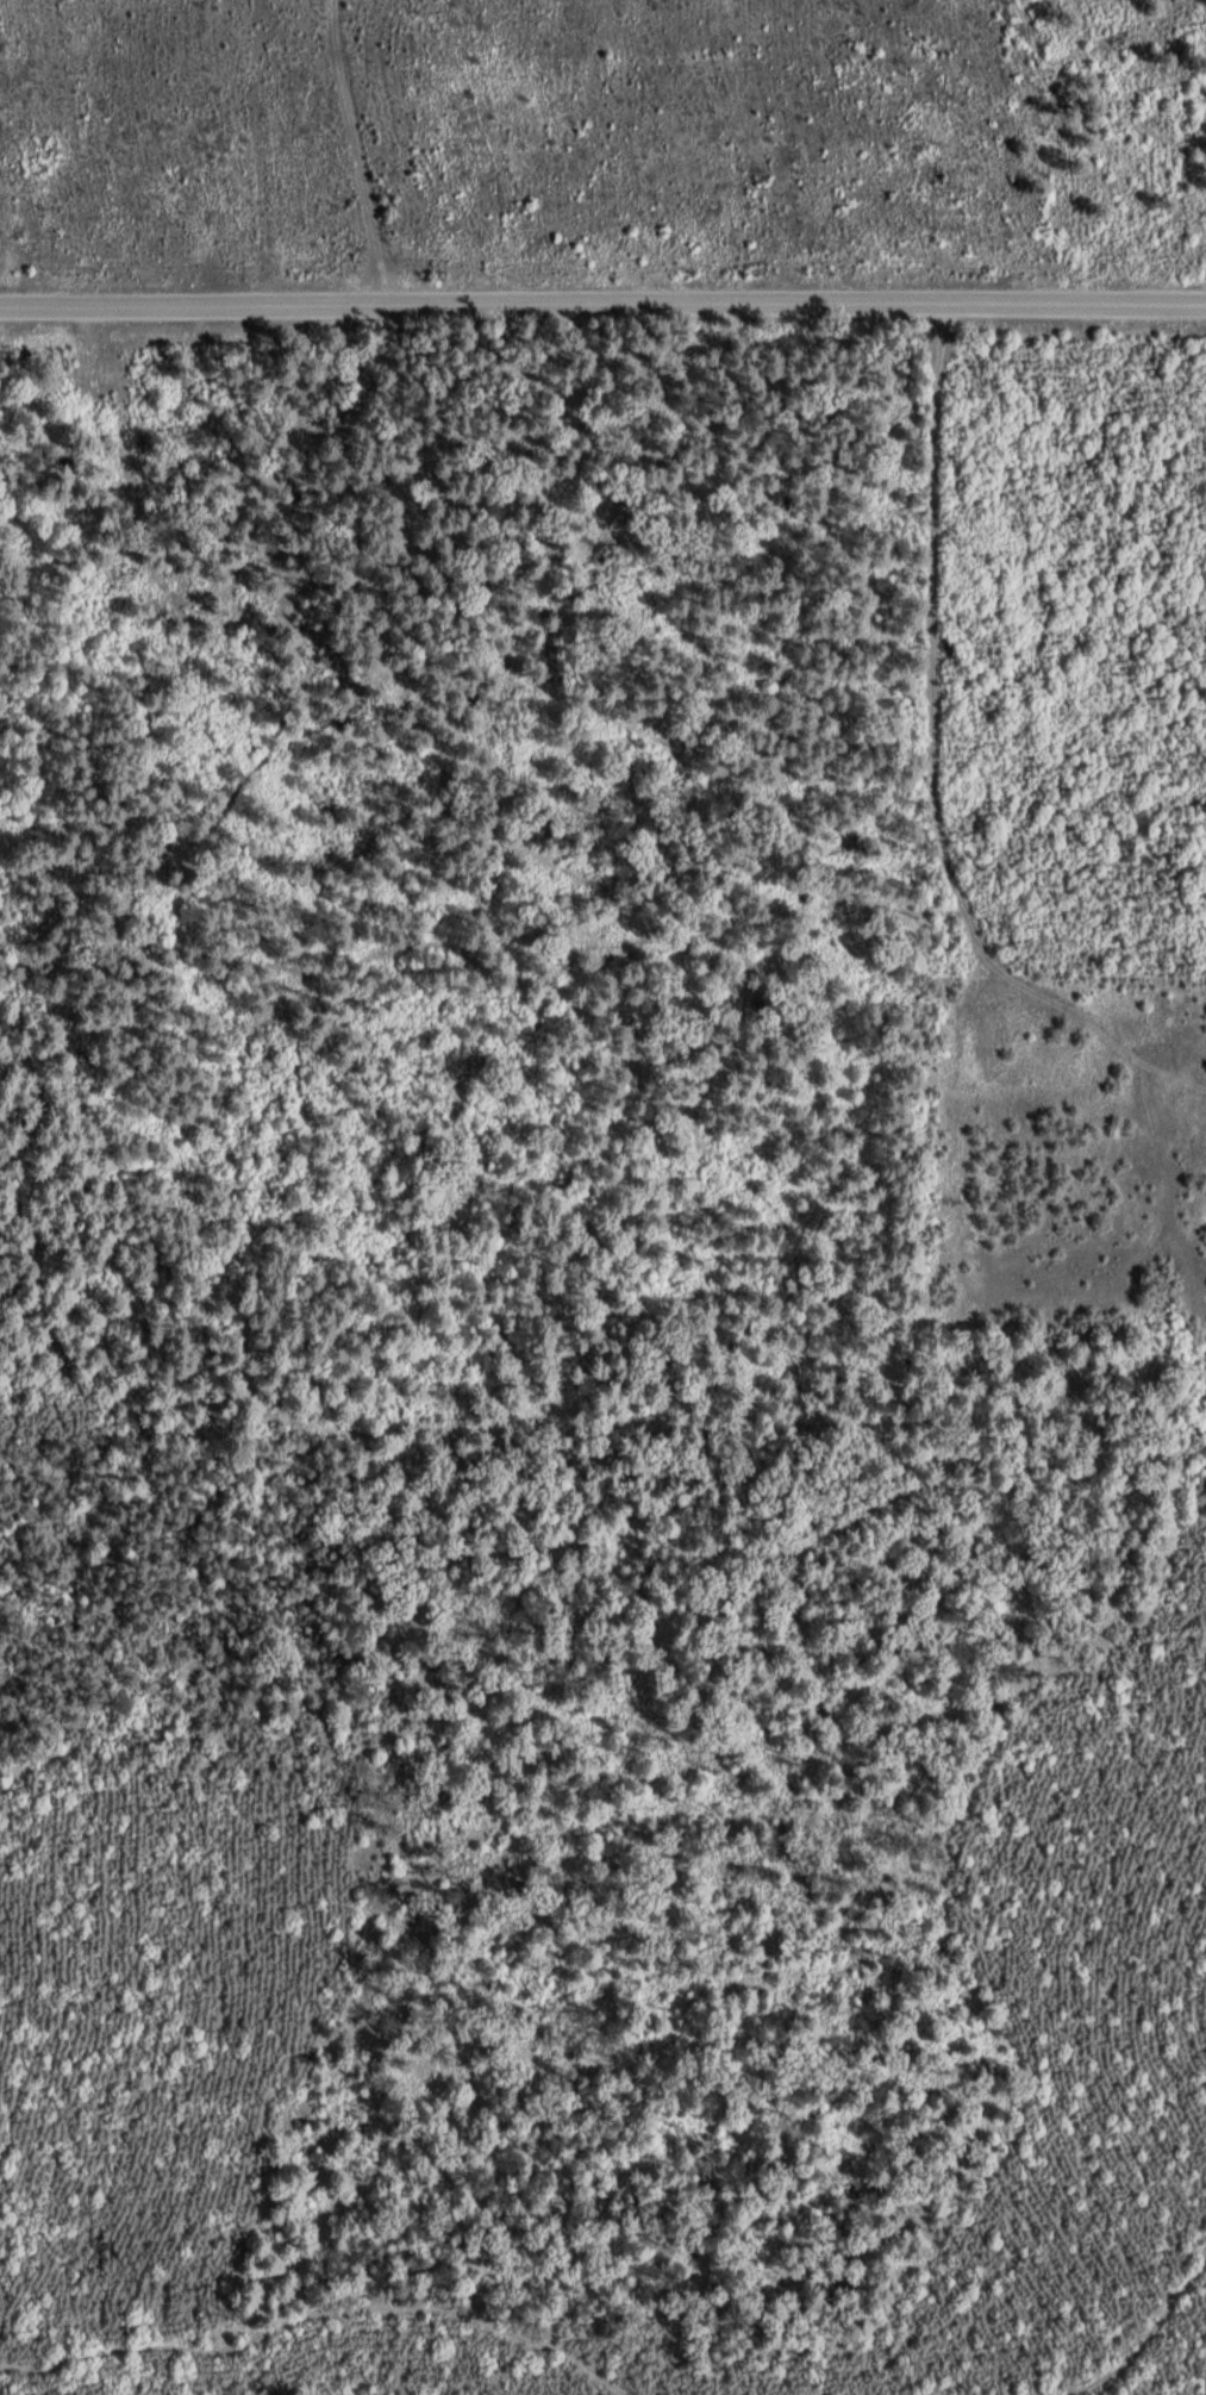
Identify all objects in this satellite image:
road: (350, 142)
road: (602, 289)
road: (933, 759)
road: (321, 2326)
road: (1144, 2341)

